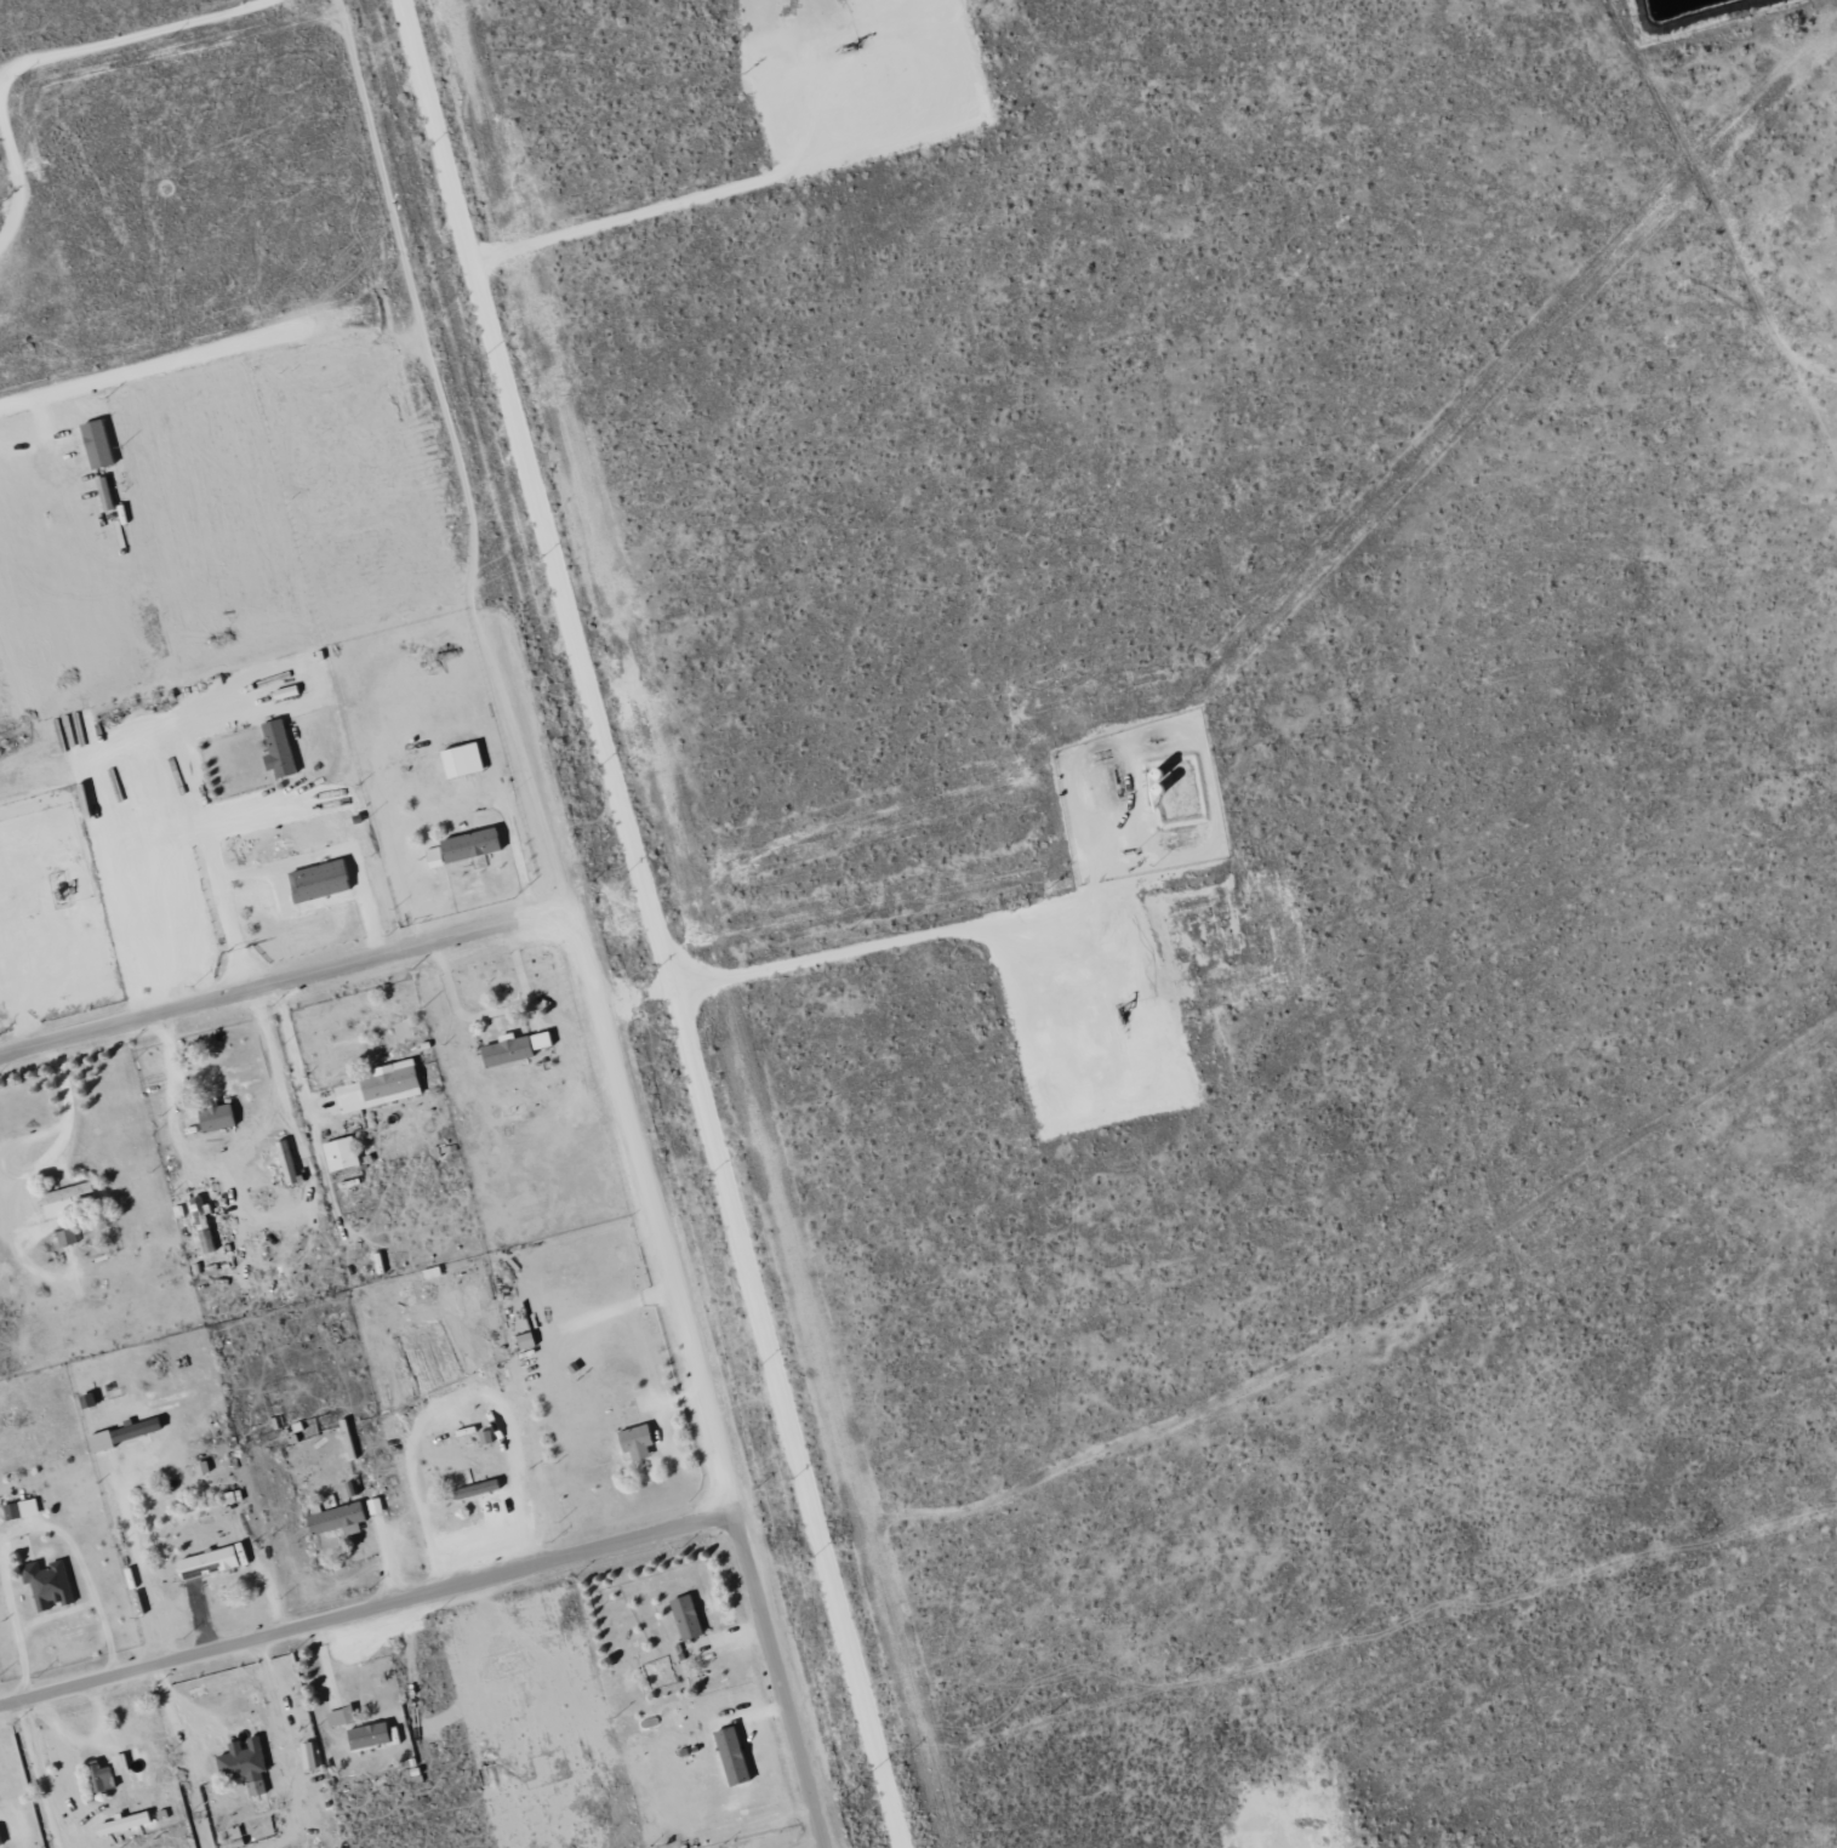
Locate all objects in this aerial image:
petroleum well: (854, 28)
road: (206, 352)
building: (283, 749)
building: (467, 762)
road: (266, 811)
building: (468, 848)
building: (324, 882)
petroleum well: (57, 885)
road: (580, 923)
road: (662, 924)
road: (287, 981)
petroleum well: (1117, 1009)
road: (289, 1048)
building: (518, 1049)
building: (384, 1086)
building: (222, 1119)
building: (344, 1154)
building: (290, 1163)
building: (65, 1200)
building: (69, 1238)
building: (521, 1340)
building: (121, 1436)
building: (632, 1441)
building: (23, 1508)
building: (333, 1519)
building: (212, 1563)
road: (367, 1607)
building: (684, 1615)
building: (728, 1756)
building: (124, 1764)
building: (247, 1764)
building: (104, 1779)
building: (129, 1824)
building: (1, 1840)

